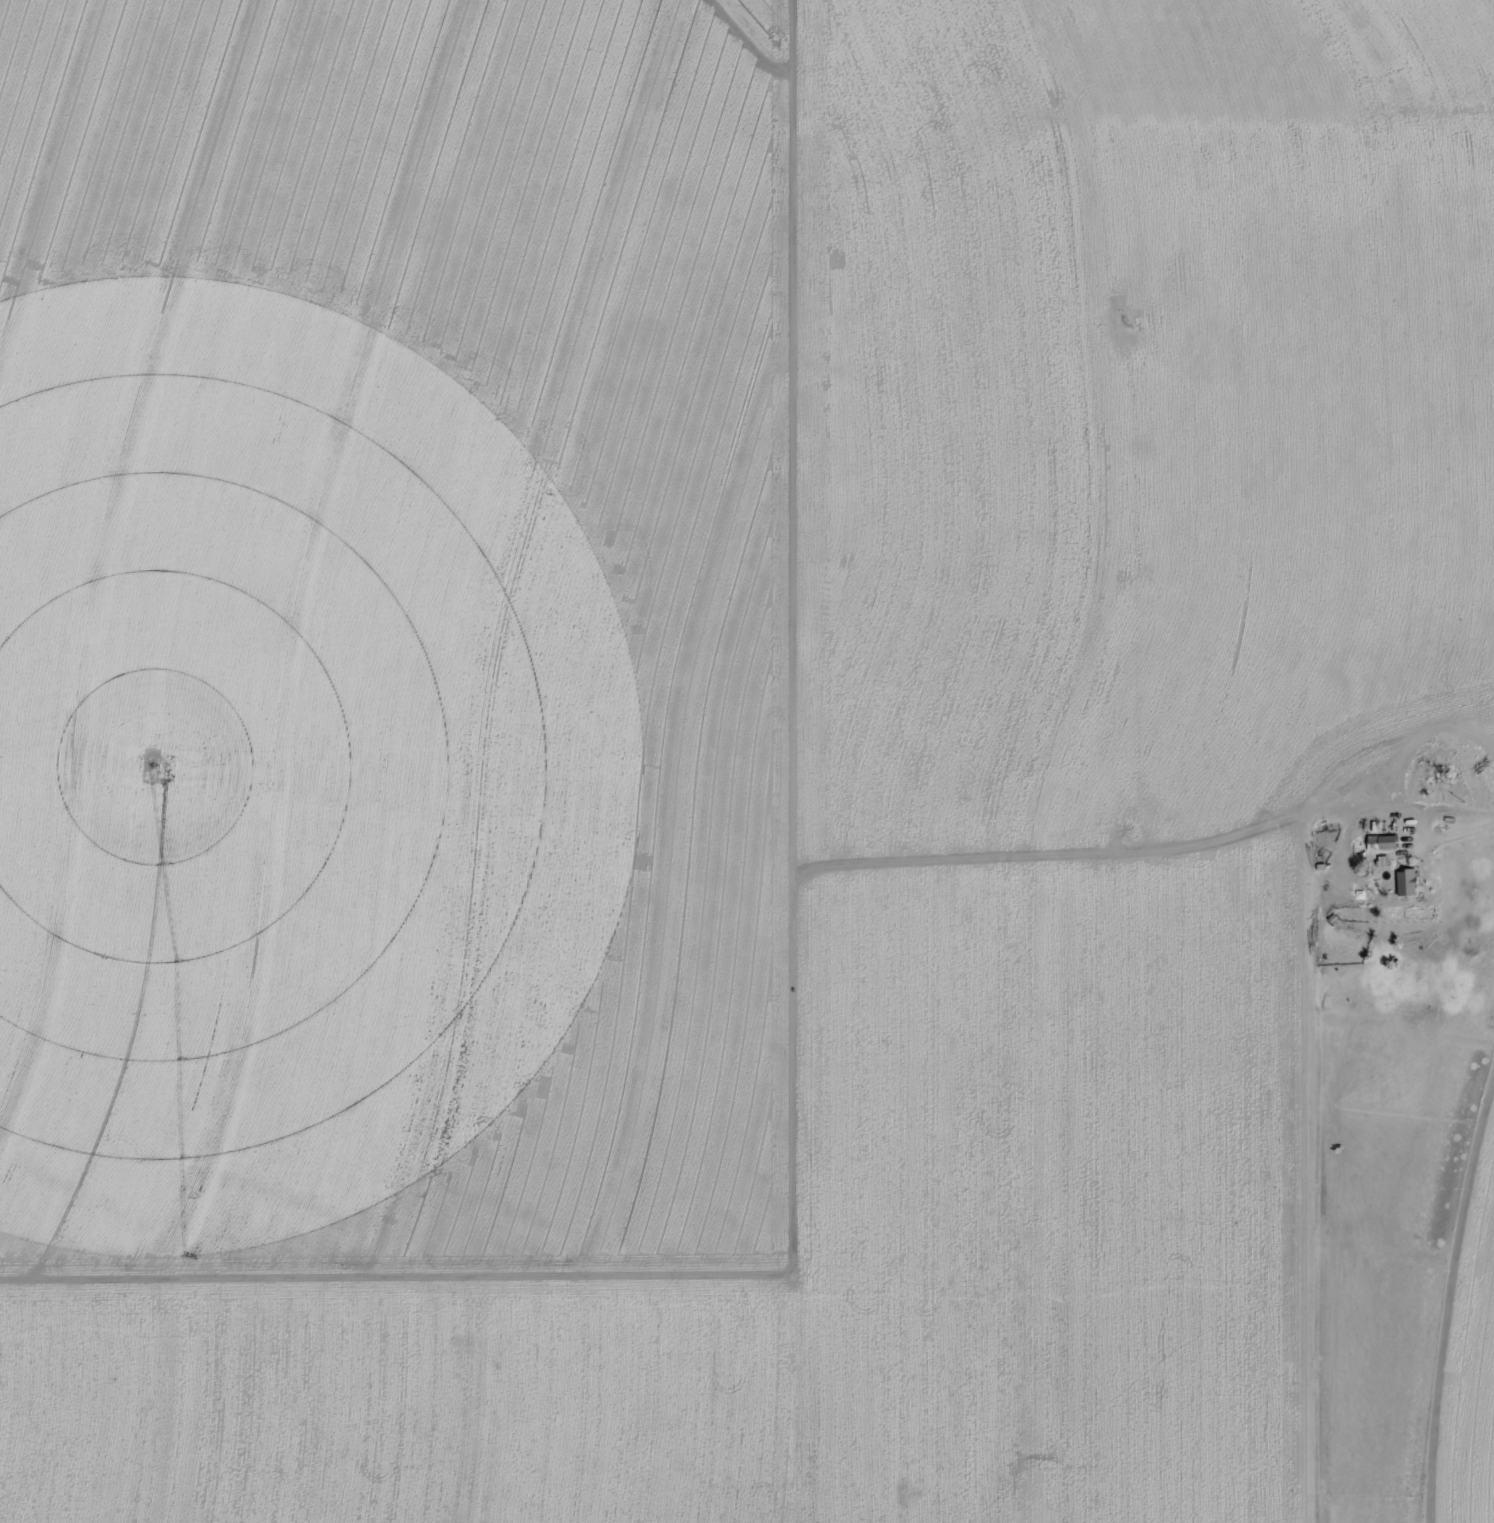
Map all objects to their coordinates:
road: (1449, 843)
building: (1405, 881)

